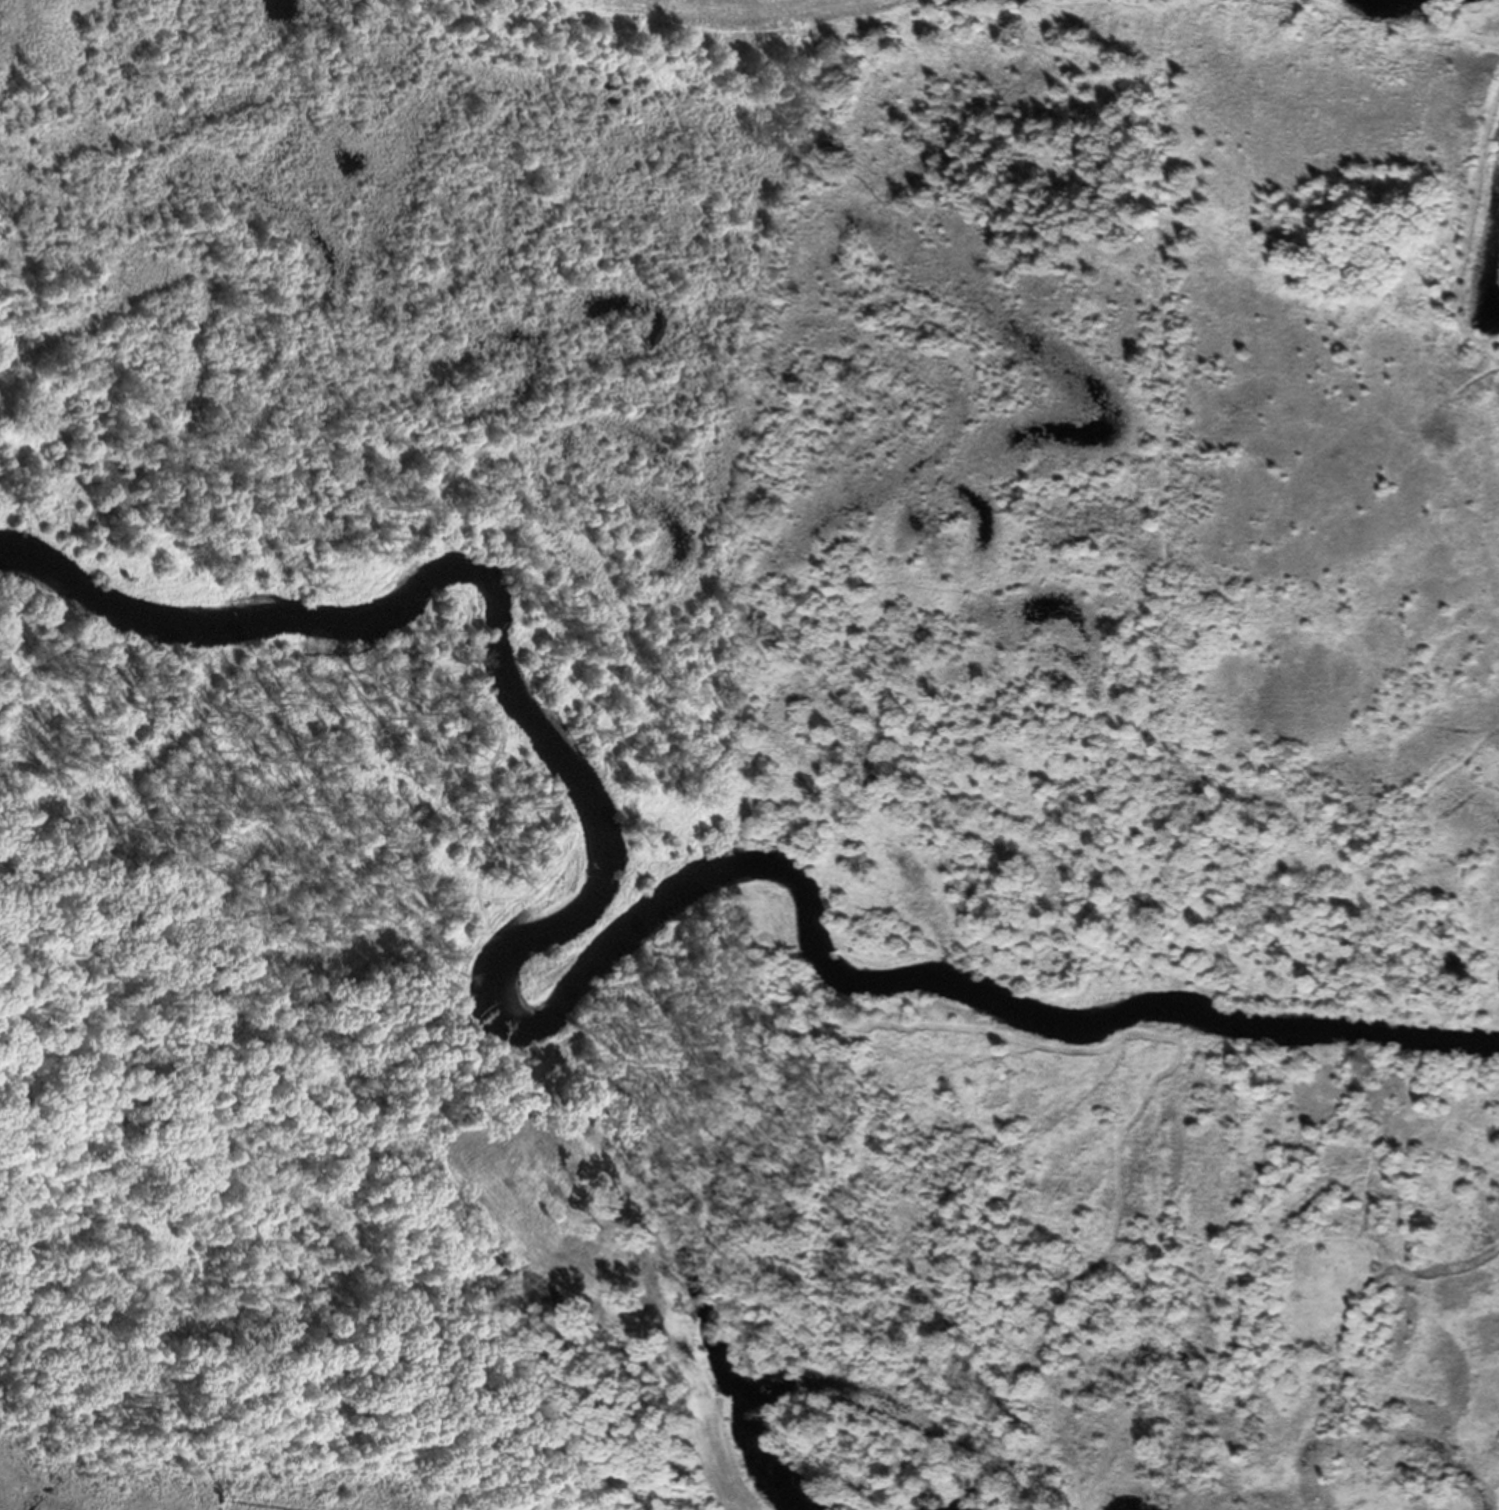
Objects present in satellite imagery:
river: (543, 1011)

